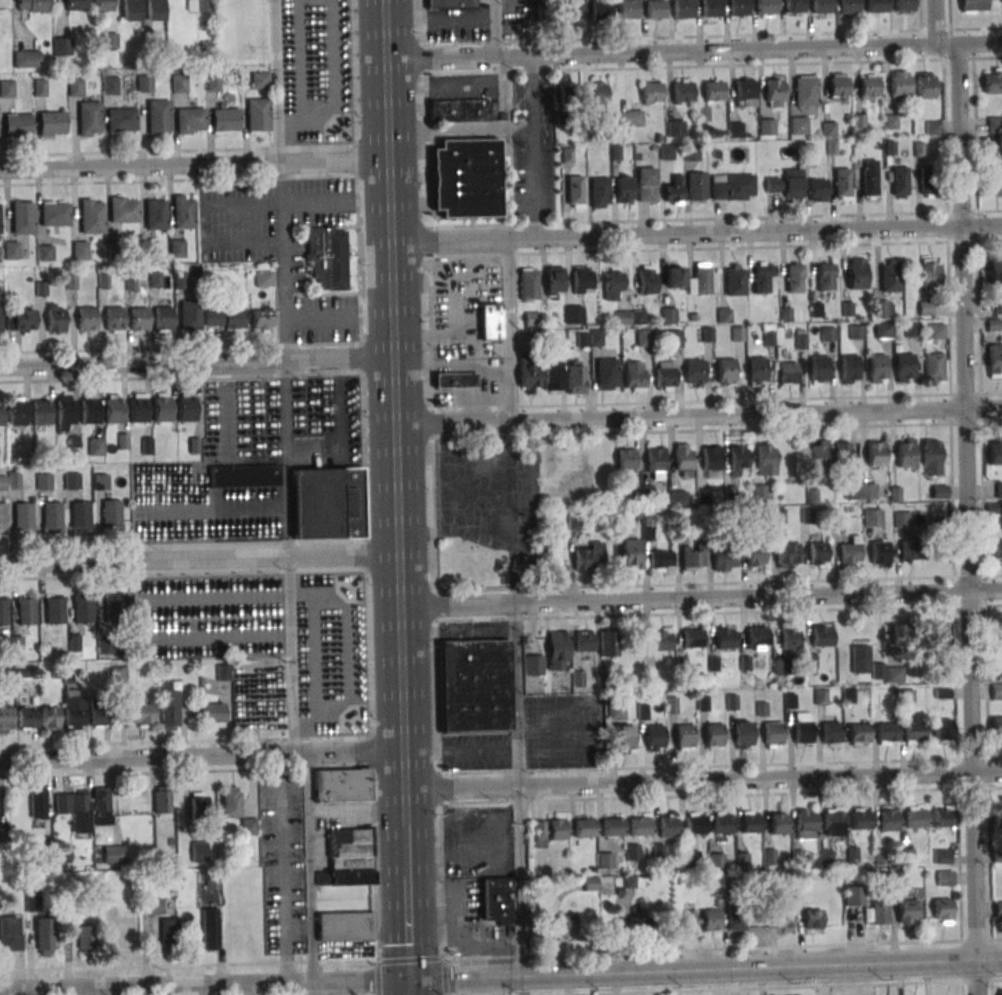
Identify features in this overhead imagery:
building: (1001, 1)
building: (450, 3)
building: (33, 5)
building: (76, 5)
building: (103, 5)
building: (198, 5)
building: (903, 5)
building: (848, 6)
building: (875, 6)
building: (974, 6)
building: (155, 7)
building: (765, 7)
building: (793, 7)
building: (820, 7)
building: (682, 8)
building: (738, 8)
building: (711, 9)
building: (131, 10)
building: (627, 10)
building: (655, 10)
building: (573, 11)
building: (600, 11)
building: (543, 13)
road: (934, 21)
road: (697, 36)
road: (980, 42)
road: (946, 43)
building: (61, 44)
road: (659, 52)
road: (499, 57)
building: (26, 58)
road: (713, 65)
building: (260, 80)
building: (212, 82)
building: (179, 83)
road: (276, 83)
building: (993, 83)
building: (144, 84)
building: (110, 85)
building: (899, 85)
building: (926, 85)
building: (40, 87)
building: (75, 87)
building: (837, 87)
building: (869, 87)
building: (7, 88)
building: (745, 90)
building: (597, 91)
building: (713, 92)
building: (774, 92)
building: (651, 93)
building: (681, 93)
building: (805, 93)
building: (458, 110)
building: (158, 115)
building: (258, 115)
building: (627, 118)
building: (88, 119)
building: (121, 119)
building: (190, 120)
building: (225, 120)
building: (52, 123)
building: (994, 124)
building: (18, 125)
building: (798, 125)
building: (766, 126)
building: (675, 128)
building: (735, 129)
road: (458, 131)
road: (532, 147)
road: (332, 165)
road: (139, 168)
building: (467, 178)
building: (993, 178)
building: (869, 179)
building: (927, 181)
building: (899, 182)
building: (793, 183)
building: (842, 184)
building: (772, 185)
building: (645, 186)
building: (732, 186)
building: (696, 187)
building: (624, 189)
building: (817, 190)
building: (574, 191)
building: (673, 191)
building: (598, 193)
road: (237, 204)
building: (124, 209)
building: (183, 211)
building: (54, 213)
building: (155, 214)
building: (91, 216)
building: (23, 217)
road: (608, 221)
road: (694, 234)
building: (176, 248)
road: (715, 248)
building: (10, 250)
building: (80, 250)
building: (45, 252)
building: (328, 256)
road: (281, 264)
building: (996, 270)
building: (856, 273)
building: (929, 274)
building: (674, 275)
building: (825, 275)
building: (890, 275)
building: (763, 277)
building: (794, 277)
building: (263, 278)
building: (699, 278)
building: (582, 279)
building: (647, 279)
building: (734, 279)
building: (554, 281)
building: (528, 284)
building: (613, 284)
building: (997, 304)
building: (925, 307)
building: (847, 308)
building: (883, 308)
building: (190, 315)
building: (573, 315)
building: (724, 315)
road: (335, 318)
building: (637, 318)
building: (20, 319)
building: (224, 319)
building: (261, 319)
building: (531, 319)
building: (621, 319)
building: (86, 320)
building: (114, 320)
building: (139, 320)
building: (162, 320)
building: (491, 321)
building: (55, 322)
road: (508, 329)
building: (912, 330)
building: (883, 331)
building: (936, 331)
building: (855, 332)
building: (706, 334)
building: (827, 334)
building: (595, 338)
building: (642, 338)
building: (768, 338)
building: (581, 339)
building: (671, 339)
building: (995, 360)
road: (337, 362)
road: (141, 365)
road: (454, 366)
building: (903, 367)
building: (933, 367)
building: (818, 368)
building: (876, 368)
building: (848, 369)
building: (725, 370)
building: (756, 370)
building: (694, 372)
building: (787, 373)
building: (606, 374)
building: (633, 375)
building: (663, 375)
building: (551, 376)
building: (528, 378)
building: (456, 379)
building: (574, 380)
building: (162, 410)
building: (186, 410)
building: (137, 411)
building: (89, 412)
building: (114, 412)
building: (41, 413)
building: (65, 413)
road: (392, 413)
building: (16, 414)
road: (697, 414)
building: (1, 415)
building: (96, 446)
building: (905, 452)
building: (841, 453)
building: (876, 453)
building: (820, 454)
building: (995, 455)
building: (931, 457)
building: (737, 458)
building: (765, 458)
building: (681, 459)
building: (709, 459)
building: (625, 460)
building: (654, 461)
building: (244, 476)
building: (14, 480)
building: (43, 481)
building: (72, 481)
building: (3, 482)
building: (999, 490)
building: (759, 492)
building: (677, 498)
building: (328, 502)
road: (510, 511)
building: (111, 514)
building: (80, 515)
building: (23, 516)
building: (51, 516)
building: (2, 517)
building: (872, 517)
road: (968, 518)
road: (314, 542)
building: (997, 550)
building: (911, 551)
building: (850, 552)
building: (877, 552)
building: (818, 553)
building: (631, 555)
building: (787, 555)
building: (692, 556)
road: (287, 557)
building: (590, 557)
building: (755, 558)
road: (199, 559)
building: (660, 560)
building: (724, 560)
road: (65, 577)
road: (700, 598)
building: (113, 610)
building: (54, 611)
building: (82, 612)
building: (3, 613)
building: (25, 613)
building: (902, 631)
building: (937, 633)
building: (1000, 634)
building: (822, 636)
building: (692, 637)
building: (724, 638)
building: (756, 638)
building: (789, 638)
building: (661, 639)
building: (585, 640)
building: (609, 642)
building: (559, 650)
building: (862, 658)
building: (533, 664)
building: (888, 673)
building: (118, 675)
building: (475, 685)
building: (997, 691)
building: (906, 697)
building: (169, 704)
building: (73, 709)
building: (616, 711)
building: (140, 712)
building: (213, 714)
building: (99, 716)
building: (49, 717)
building: (27, 718)
building: (6, 719)
building: (997, 728)
building: (942, 729)
building: (802, 733)
building: (886, 733)
building: (914, 733)
building: (772, 734)
building: (830, 734)
building: (858, 734)
building: (712, 735)
building: (743, 735)
building: (683, 737)
building: (623, 738)
building: (653, 738)
road: (201, 754)
road: (702, 781)
building: (342, 785)
road: (518, 789)
building: (162, 800)
building: (232, 801)
building: (38, 803)
building: (199, 805)
building: (102, 806)
building: (76, 809)
building: (997, 816)
building: (943, 819)
building: (915, 820)
building: (860, 821)
building: (832, 822)
building: (888, 822)
building: (805, 823)
building: (749, 824)
building: (722, 825)
building: (778, 825)
building: (249, 826)
building: (694, 826)
building: (611, 828)
building: (639, 828)
building: (666, 829)
building: (584, 830)
building: (557, 832)
building: (3, 834)
road: (405, 850)
building: (199, 851)
building: (633, 851)
building: (114, 854)
building: (942, 856)
building: (349, 858)
building: (690, 858)
building: (605, 860)
road: (309, 866)
road: (283, 867)
building: (944, 878)
building: (212, 883)
building: (853, 895)
building: (497, 898)
building: (34, 901)
building: (151, 906)
building: (879, 908)
building: (998, 909)
building: (943, 910)
building: (906, 912)
building: (111, 915)
building: (690, 917)
building: (784, 918)
building: (722, 920)
building: (813, 920)
building: (345, 925)
road: (298, 926)
building: (566, 926)
building: (643, 926)
road: (408, 927)
building: (210, 928)
building: (10, 933)
building: (169, 933)
building: (45, 935)
building: (129, 936)
building: (87, 939)
road: (706, 969)
road: (205, 985)
road: (410, 987)
building: (1000, 992)

